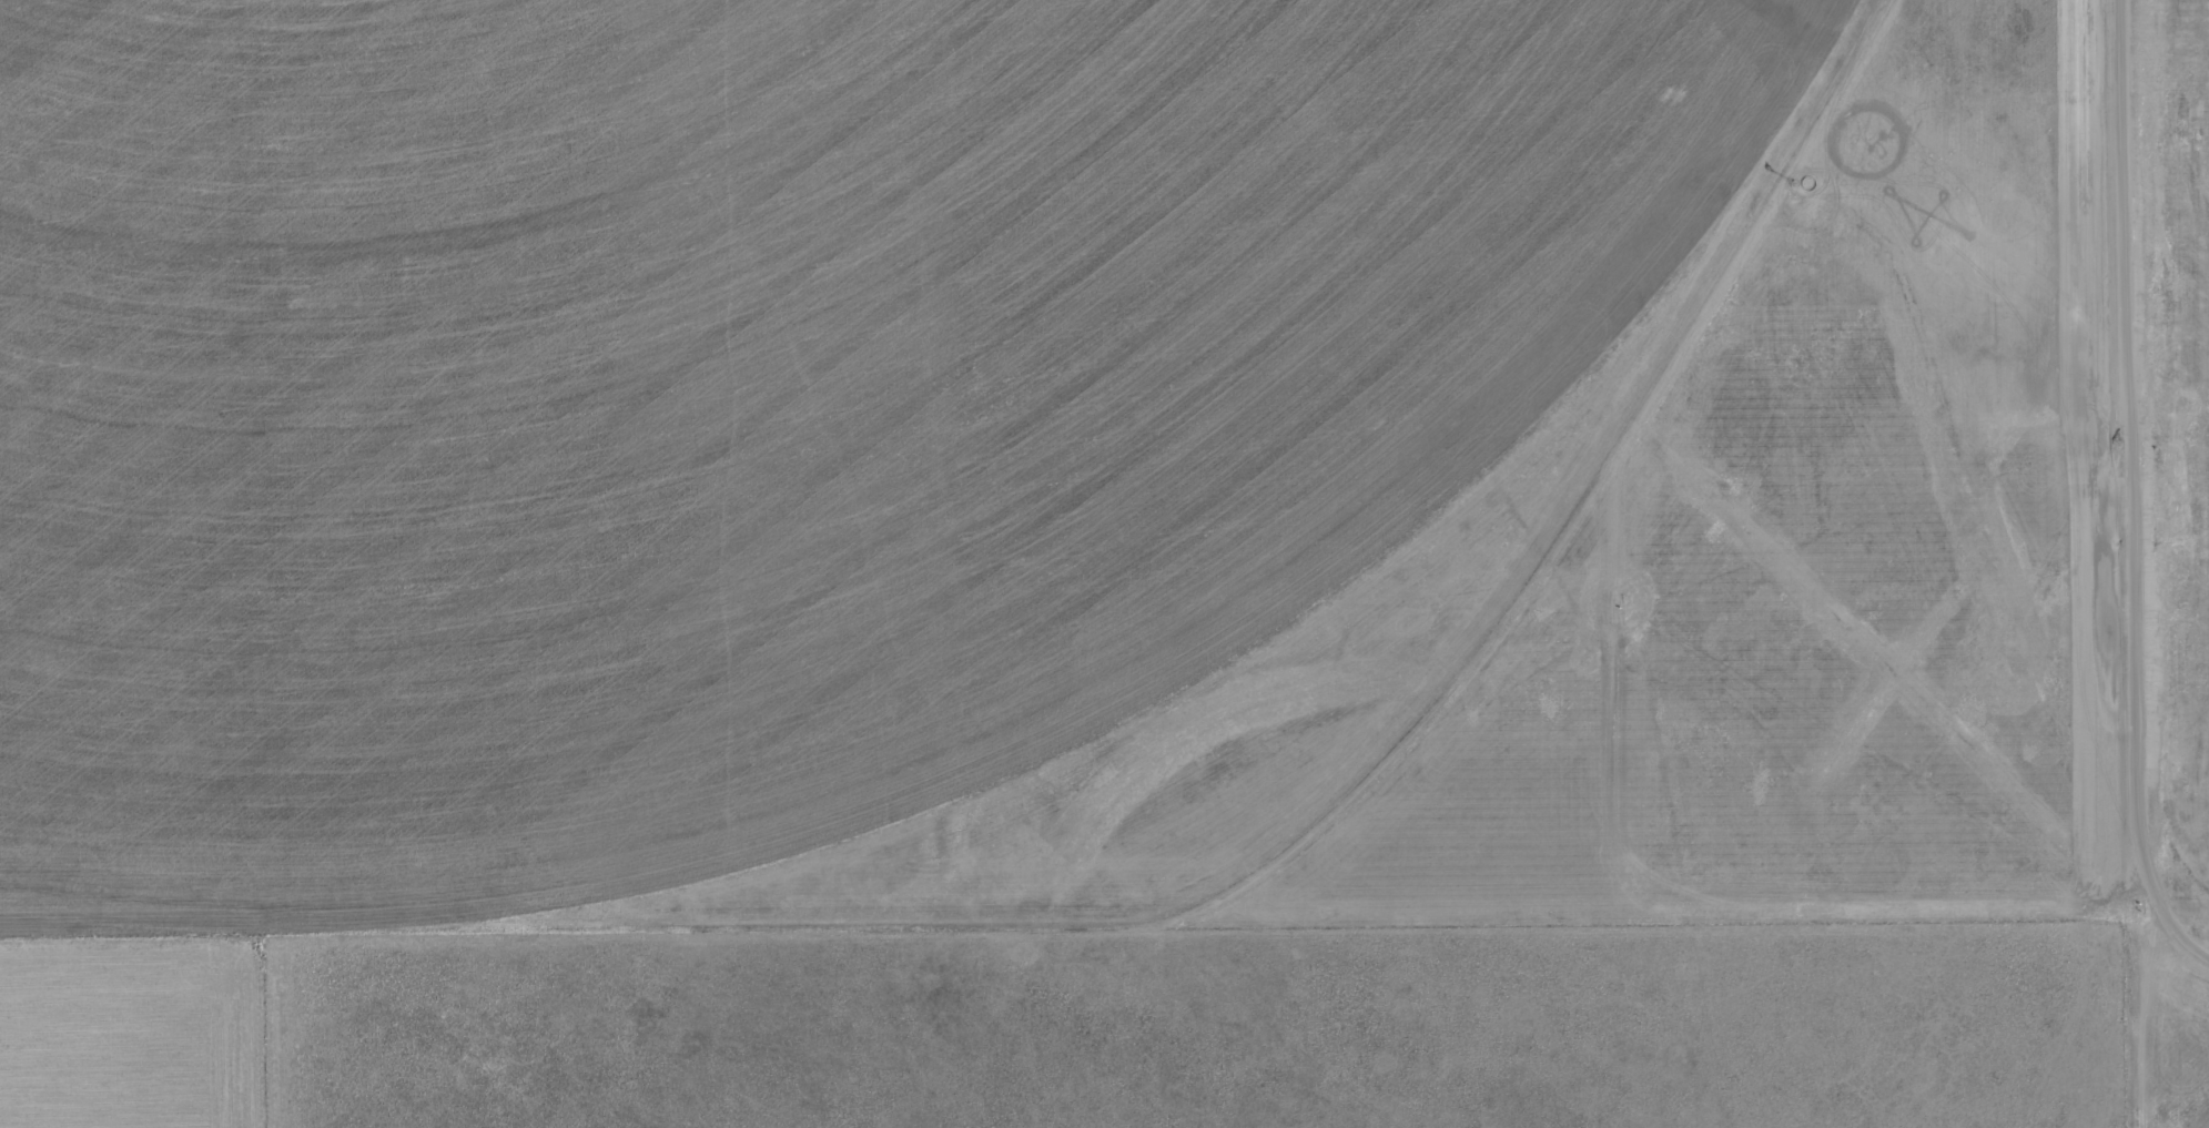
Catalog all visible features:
road: (1897, 563)

